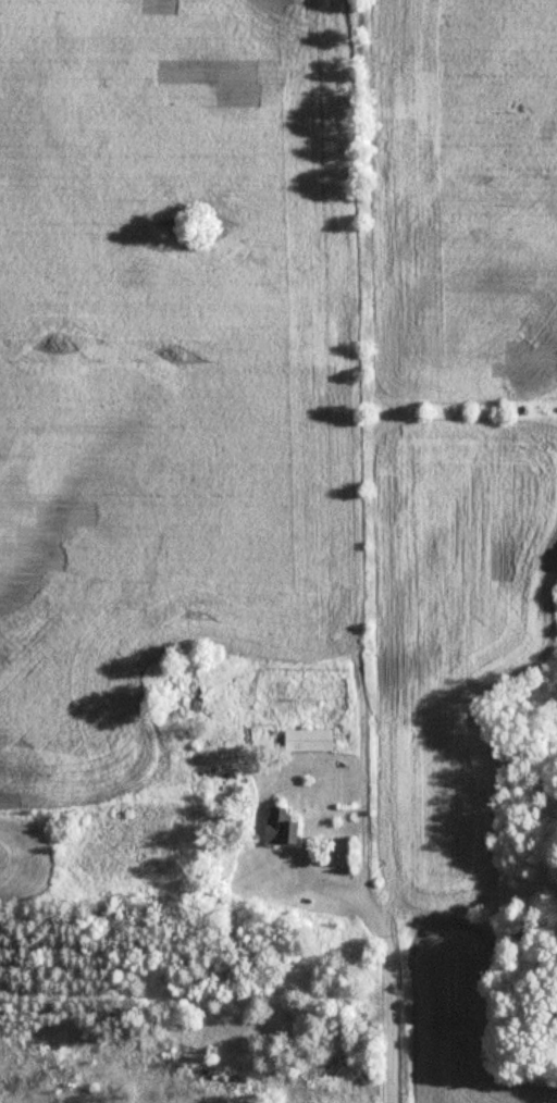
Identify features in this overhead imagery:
building: (307, 739)
building: (280, 826)
road: (389, 996)

